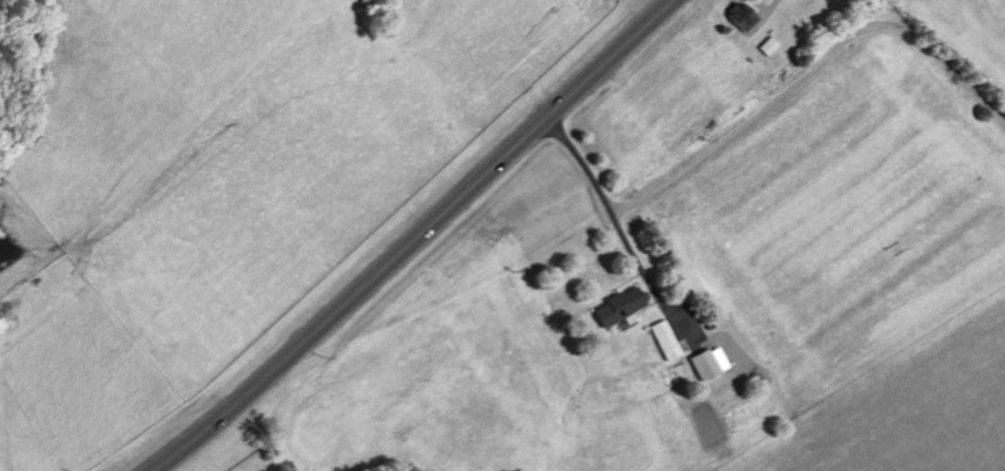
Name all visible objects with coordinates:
building: (742, 16)
road: (418, 238)
building: (618, 307)
building: (1, 328)
building: (665, 340)
building: (708, 363)

